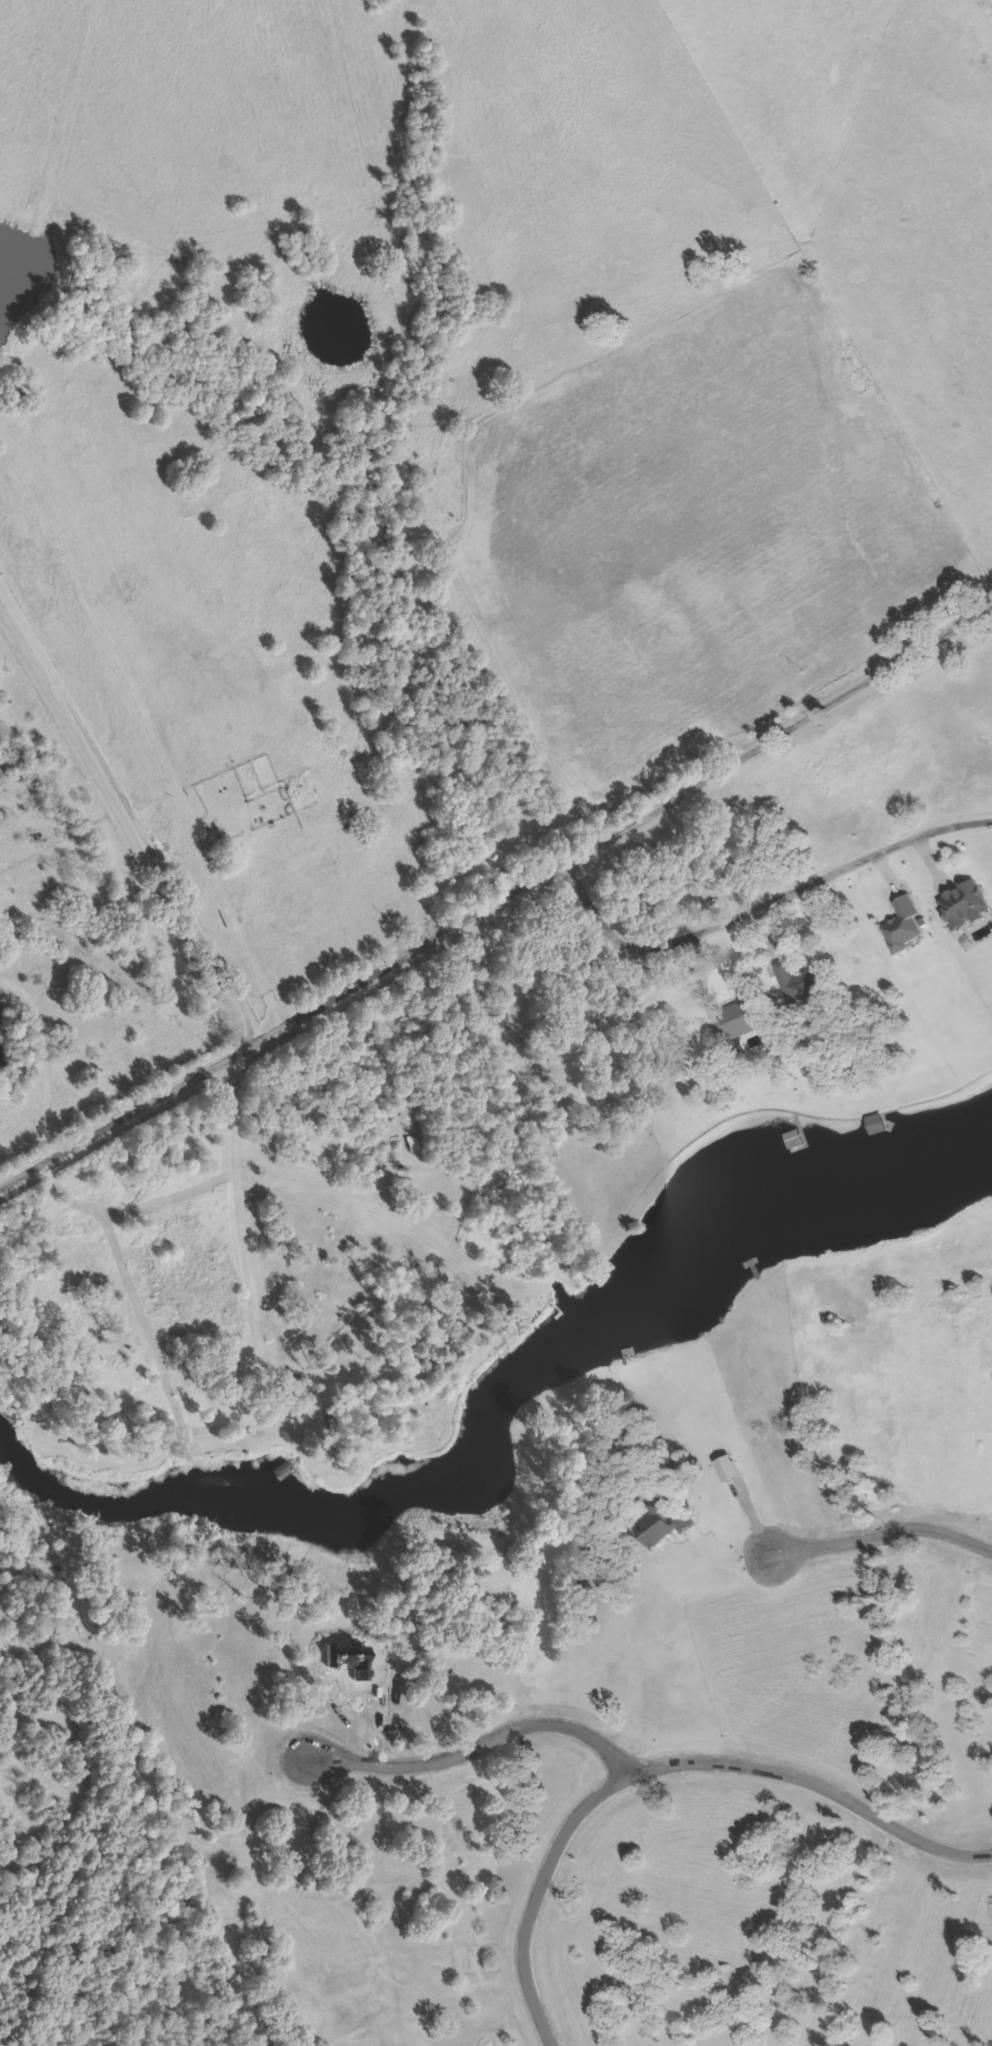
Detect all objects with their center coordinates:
road: (936, 57)
road: (148, 733)
road: (130, 815)
road: (816, 880)
road: (499, 902)
building: (966, 905)
road: (597, 911)
building: (904, 926)
building: (803, 980)
building: (745, 1017)
building: (880, 1124)
building: (797, 1139)
building: (666, 1523)
road: (880, 1535)
road: (478, 1745)
road: (664, 1767)

